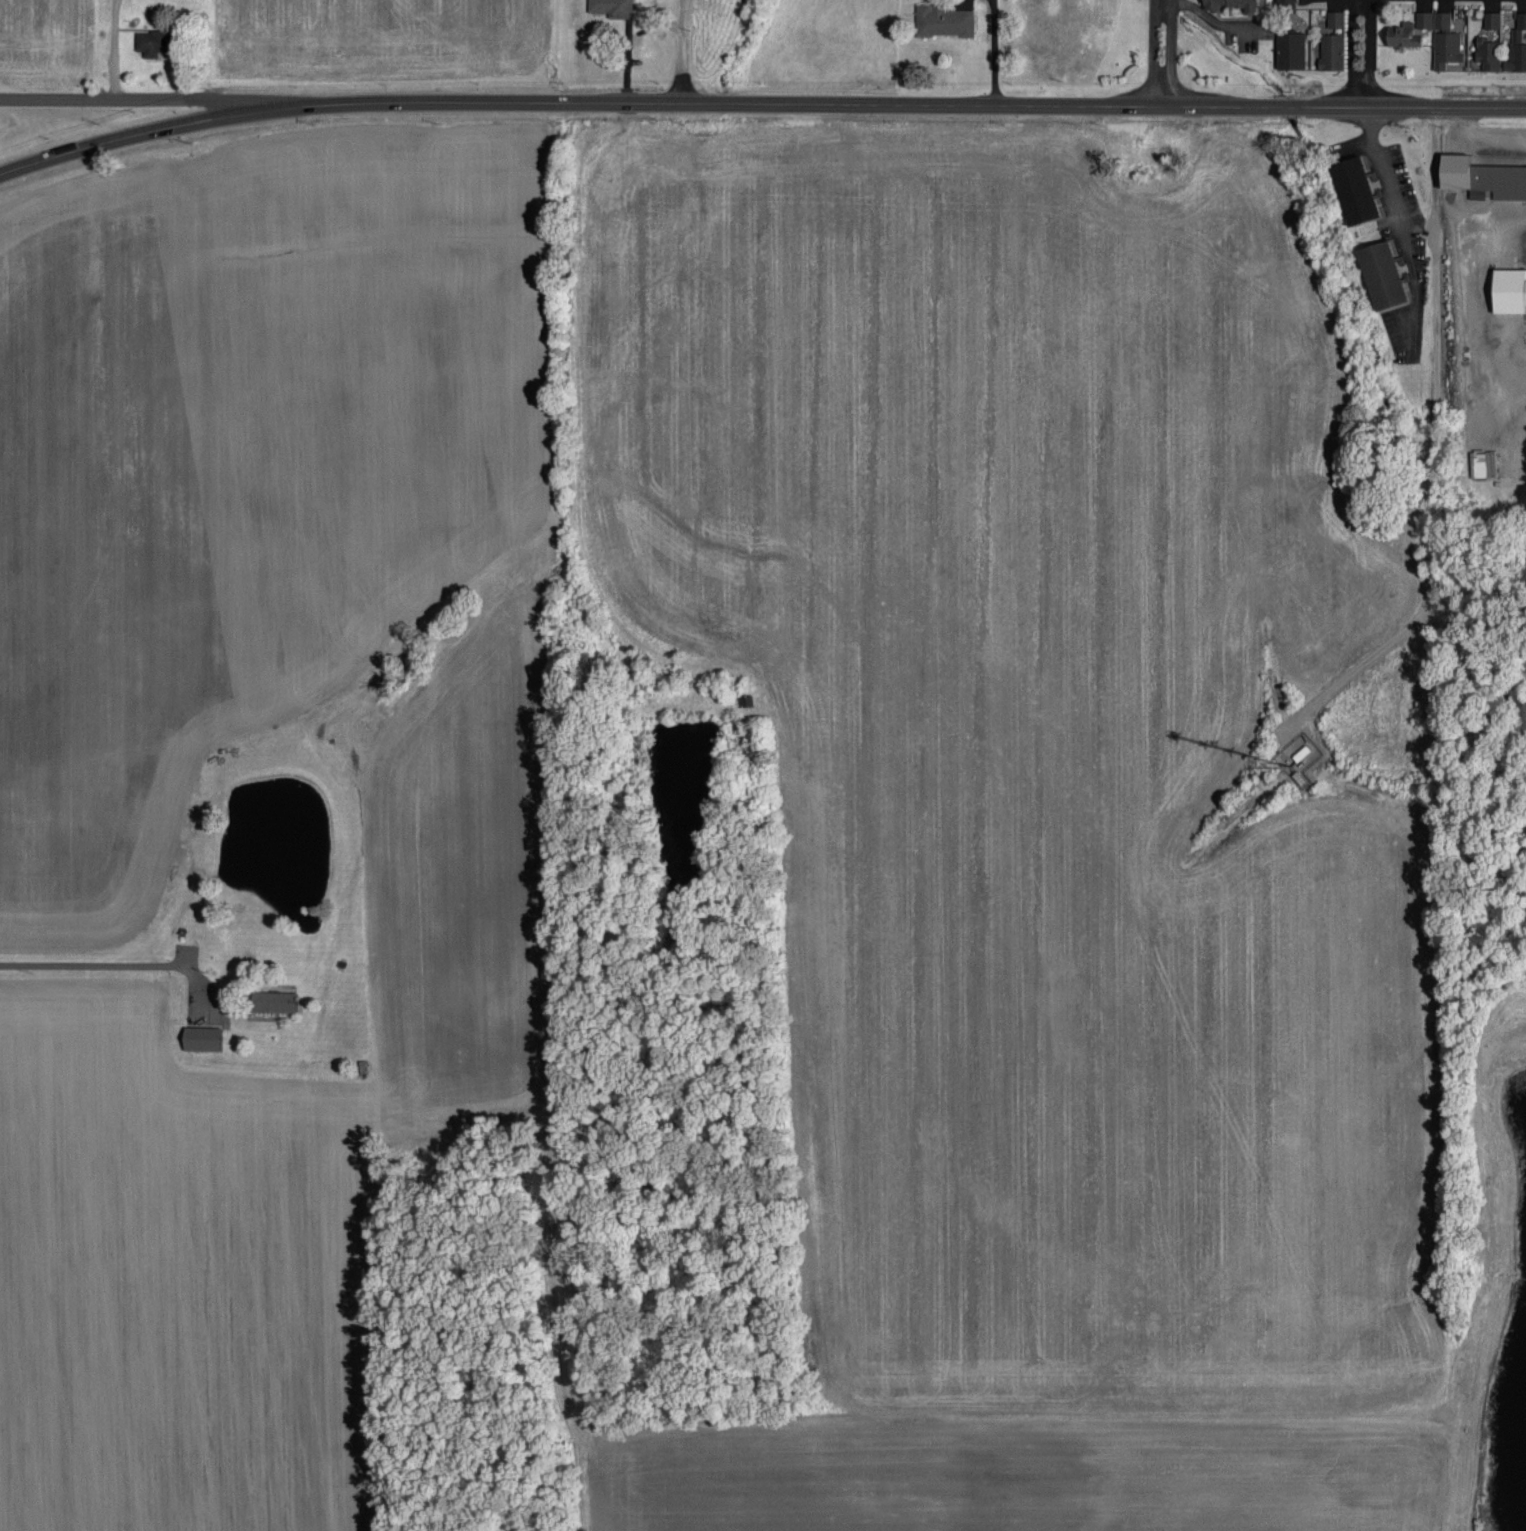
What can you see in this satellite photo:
building: (1231, 4)
building: (611, 7)
building: (1334, 17)
building: (1424, 17)
building: (1491, 18)
building: (942, 19)
road: (1215, 20)
building: (1402, 33)
building: (152, 40)
building: (1444, 40)
building: (1290, 49)
building: (1330, 50)
road: (680, 51)
road: (1152, 51)
road: (1169, 51)
road: (1352, 51)
road: (1365, 51)
building: (1487, 51)
road: (126, 99)
road: (547, 101)
road: (1002, 103)
road: (1344, 103)
road: (125, 138)
road: (1382, 173)
building: (1482, 176)
building: (1353, 189)
building: (1381, 274)
building: (1509, 289)
building: (1486, 461)
road: (83, 973)
building: (272, 999)
building: (200, 1036)

